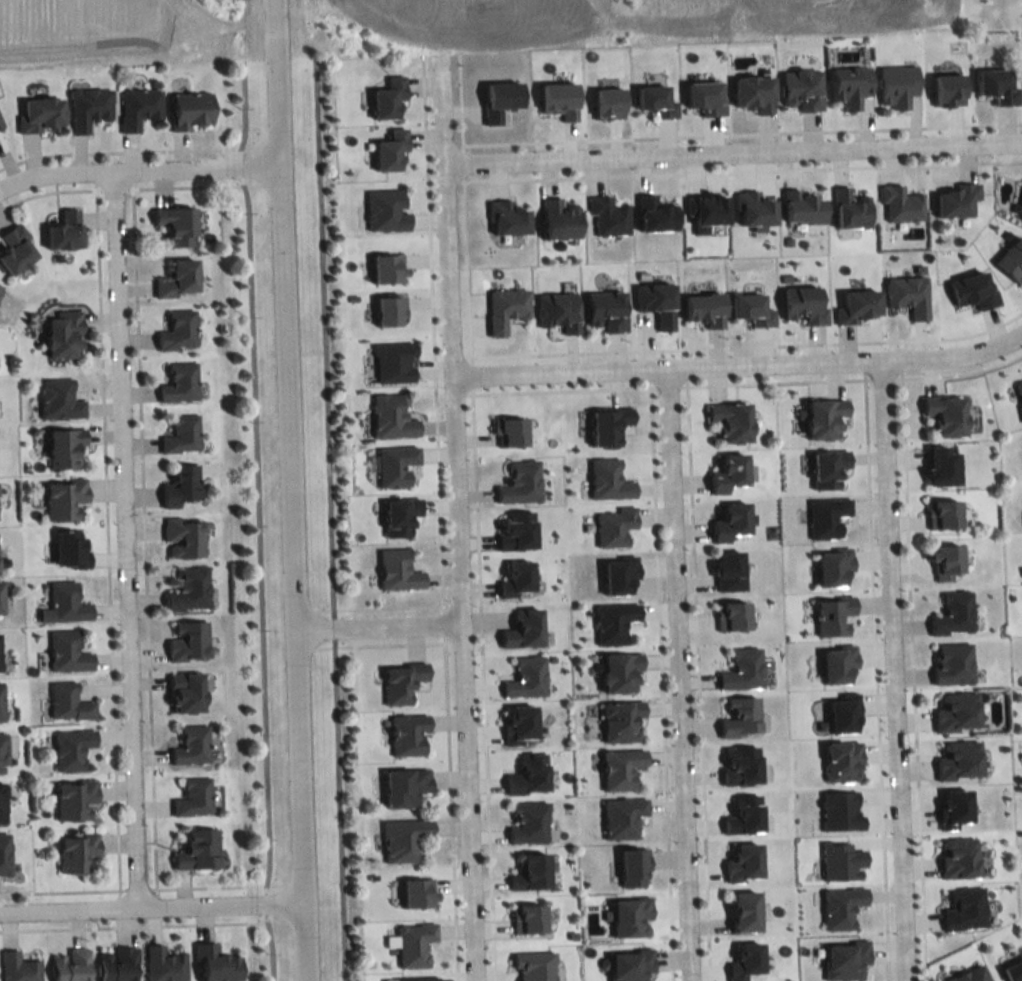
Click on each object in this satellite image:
crop: (794, 15)
crop: (483, 21)
crop: (82, 28)
building: (848, 85)
building: (895, 85)
building: (994, 86)
building: (800, 89)
building: (946, 90)
building: (752, 93)
building: (386, 98)
building: (703, 98)
building: (498, 100)
building: (558, 100)
road: (458, 101)
building: (654, 101)
building: (606, 103)
building: (90, 108)
building: (140, 108)
building: (192, 110)
building: (42, 114)
building: (0, 123)
road: (740, 132)
road: (732, 149)
building: (388, 150)
road: (461, 163)
road: (137, 169)
road: (738, 170)
building: (1021, 190)
building: (954, 200)
building: (900, 204)
building: (800, 207)
building: (753, 209)
building: (849, 209)
building: (383, 210)
building: (705, 211)
building: (1021, 211)
building: (654, 215)
building: (608, 216)
building: (505, 218)
building: (558, 220)
building: (177, 225)
building: (66, 230)
building: (1004, 234)
building: (16, 249)
building: (1010, 259)
building: (385, 268)
road: (464, 270)
building: (180, 279)
building: (0, 286)
building: (970, 290)
building: (906, 294)
building: (655, 303)
building: (801, 305)
building: (854, 306)
building: (504, 308)
building: (387, 309)
building: (702, 309)
building: (556, 310)
building: (604, 310)
building: (750, 310)
building: (179, 331)
road: (431, 331)
building: (64, 334)
road: (321, 337)
road: (747, 345)
building: (391, 358)
road: (739, 365)
road: (959, 373)
road: (469, 375)
road: (881, 378)
road: (774, 381)
building: (180, 383)
road: (666, 385)
road: (560, 389)
building: (1018, 395)
building: (60, 400)
building: (942, 412)
building: (389, 414)
building: (822, 414)
building: (729, 417)
building: (605, 424)
building: (508, 429)
building: (182, 434)
building: (67, 448)
building: (393, 463)
building: (939, 463)
building: (825, 465)
building: (730, 470)
building: (606, 478)
building: (518, 480)
building: (181, 485)
road: (287, 490)
building: (65, 498)
building: (940, 511)
building: (397, 512)
building: (824, 514)
building: (729, 518)
road: (458, 519)
building: (614, 524)
building: (514, 529)
road: (125, 537)
building: (185, 538)
building: (71, 548)
building: (943, 559)
building: (831, 563)
building: (395, 568)
building: (727, 568)
building: (617, 572)
building: (514, 576)
building: (190, 590)
building: (0, 598)
building: (67, 603)
road: (375, 607)
building: (730, 612)
building: (951, 612)
building: (831, 614)
building: (612, 620)
road: (376, 623)
road: (442, 623)
road: (332, 627)
building: (522, 627)
building: (189, 641)
road: (377, 643)
building: (68, 652)
building: (0, 657)
building: (834, 661)
building: (950, 662)
building: (618, 667)
building: (740, 668)
road: (892, 670)
road: (676, 674)
building: (525, 676)
road: (910, 676)
road: (873, 677)
road: (696, 679)
building: (398, 681)
road: (481, 683)
road: (659, 683)
building: (187, 692)
building: (1, 702)
building: (69, 703)
building: (953, 709)
building: (839, 711)
building: (737, 713)
building: (618, 718)
building: (517, 720)
building: (406, 732)
building: (192, 745)
building: (72, 749)
building: (3, 753)
building: (955, 758)
building: (838, 759)
building: (737, 763)
building: (618, 765)
building: (526, 772)
building: (403, 784)
building: (194, 798)
building: (75, 800)
building: (3, 804)
building: (949, 805)
road: (449, 808)
road: (338, 809)
building: (836, 810)
building: (741, 813)
building: (620, 814)
building: (526, 820)
building: (401, 838)
building: (199, 851)
building: (78, 853)
building: (4, 855)
building: (955, 855)
building: (838, 859)
building: (740, 860)
building: (631, 864)
building: (528, 870)
building: (415, 891)
road: (150, 903)
building: (837, 905)
building: (961, 907)
building: (745, 911)
building: (628, 914)
building: (526, 916)
building: (412, 942)
building: (842, 957)
building: (742, 959)
building: (117, 964)
building: (164, 964)
building: (533, 964)
building: (628, 964)
building: (71, 965)
building: (217, 965)
building: (18, 968)
building: (1011, 969)
building: (966, 974)
building: (415, 978)

